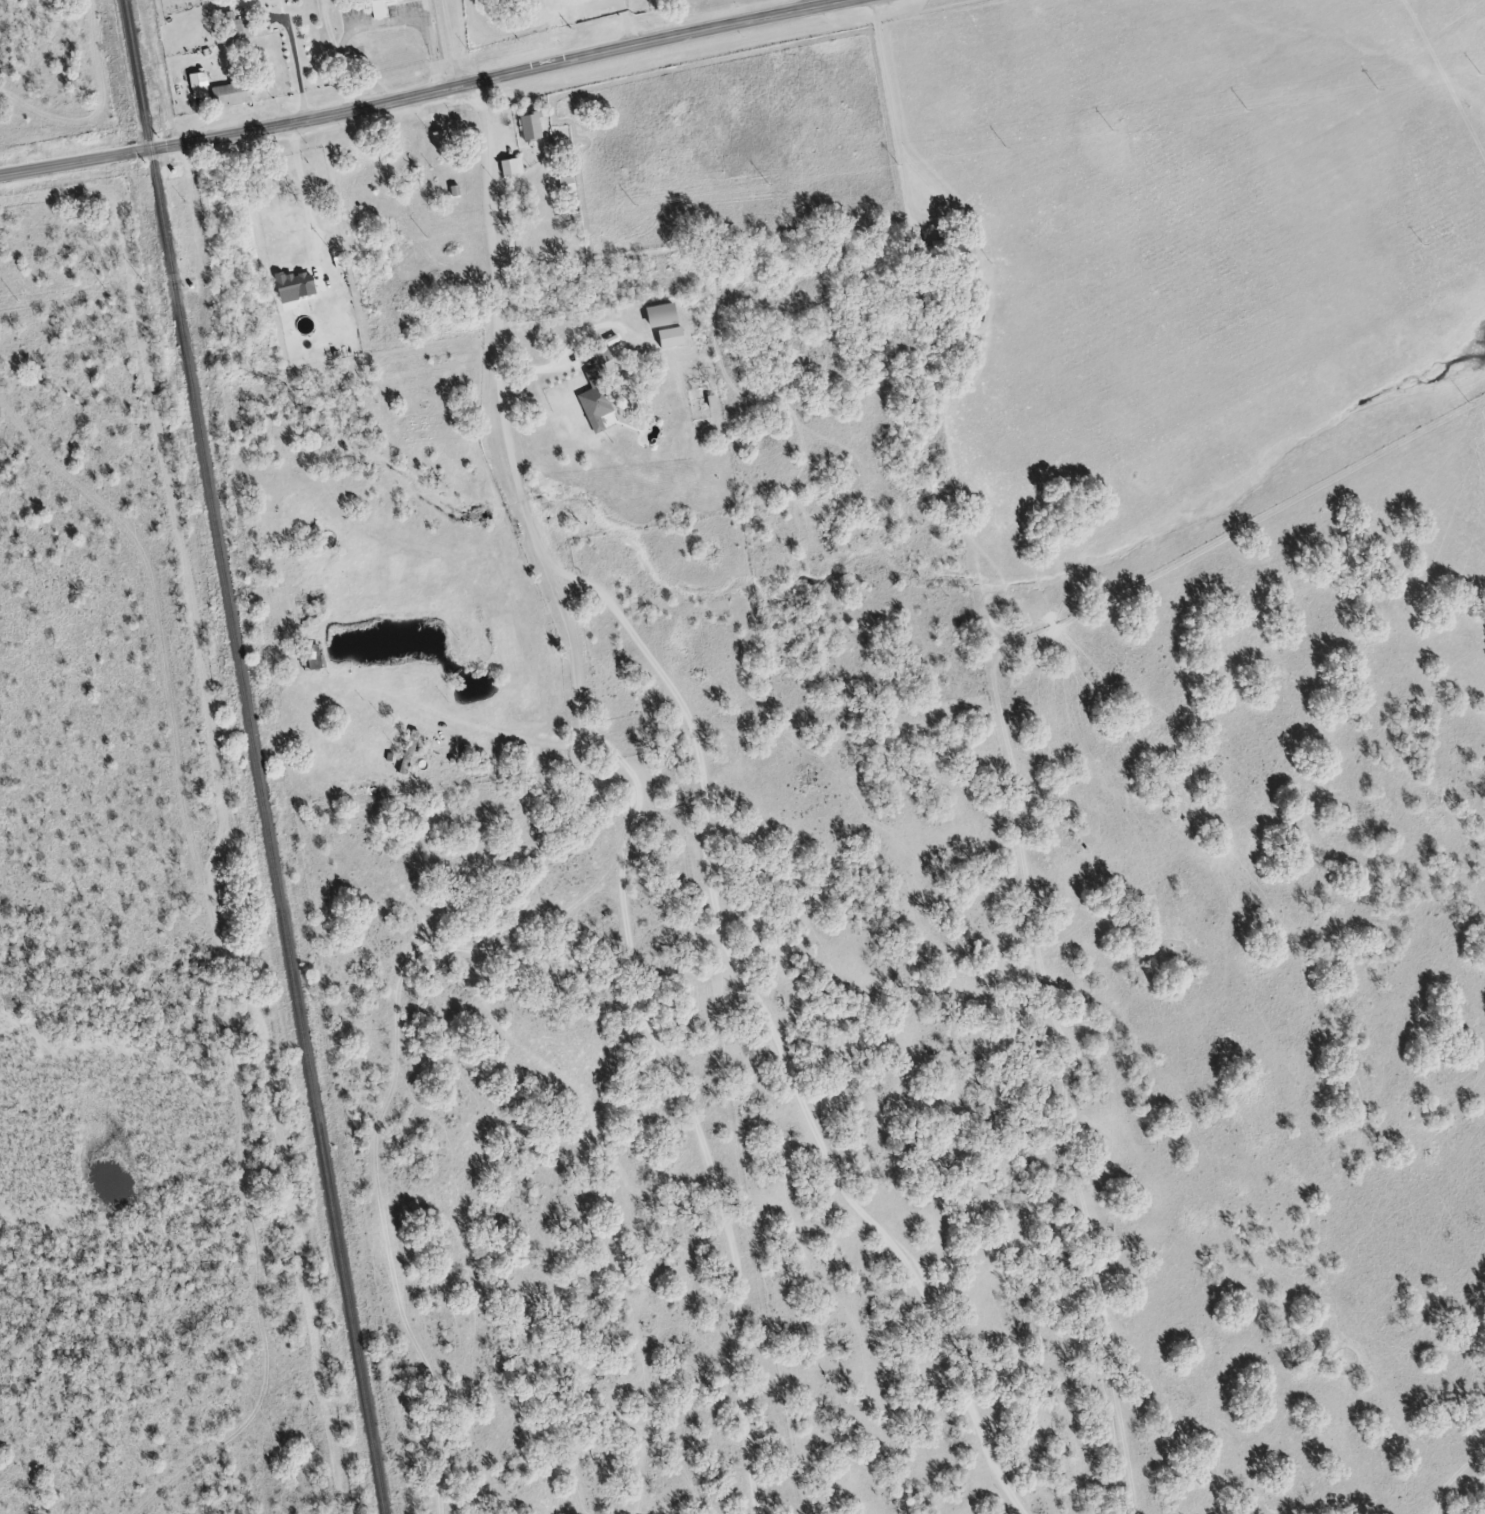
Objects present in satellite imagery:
building: (577, 0)
road: (844, 2)
building: (373, 10)
building: (232, 28)
road: (435, 92)
building: (228, 95)
building: (528, 128)
building: (436, 141)
building: (509, 168)
road: (308, 193)
building: (284, 235)
building: (657, 317)
building: (598, 354)
building: (593, 402)
building: (312, 658)
road: (467, 727)
building: (406, 754)
railway: (252, 756)
road: (712, 797)
road: (658, 1027)

